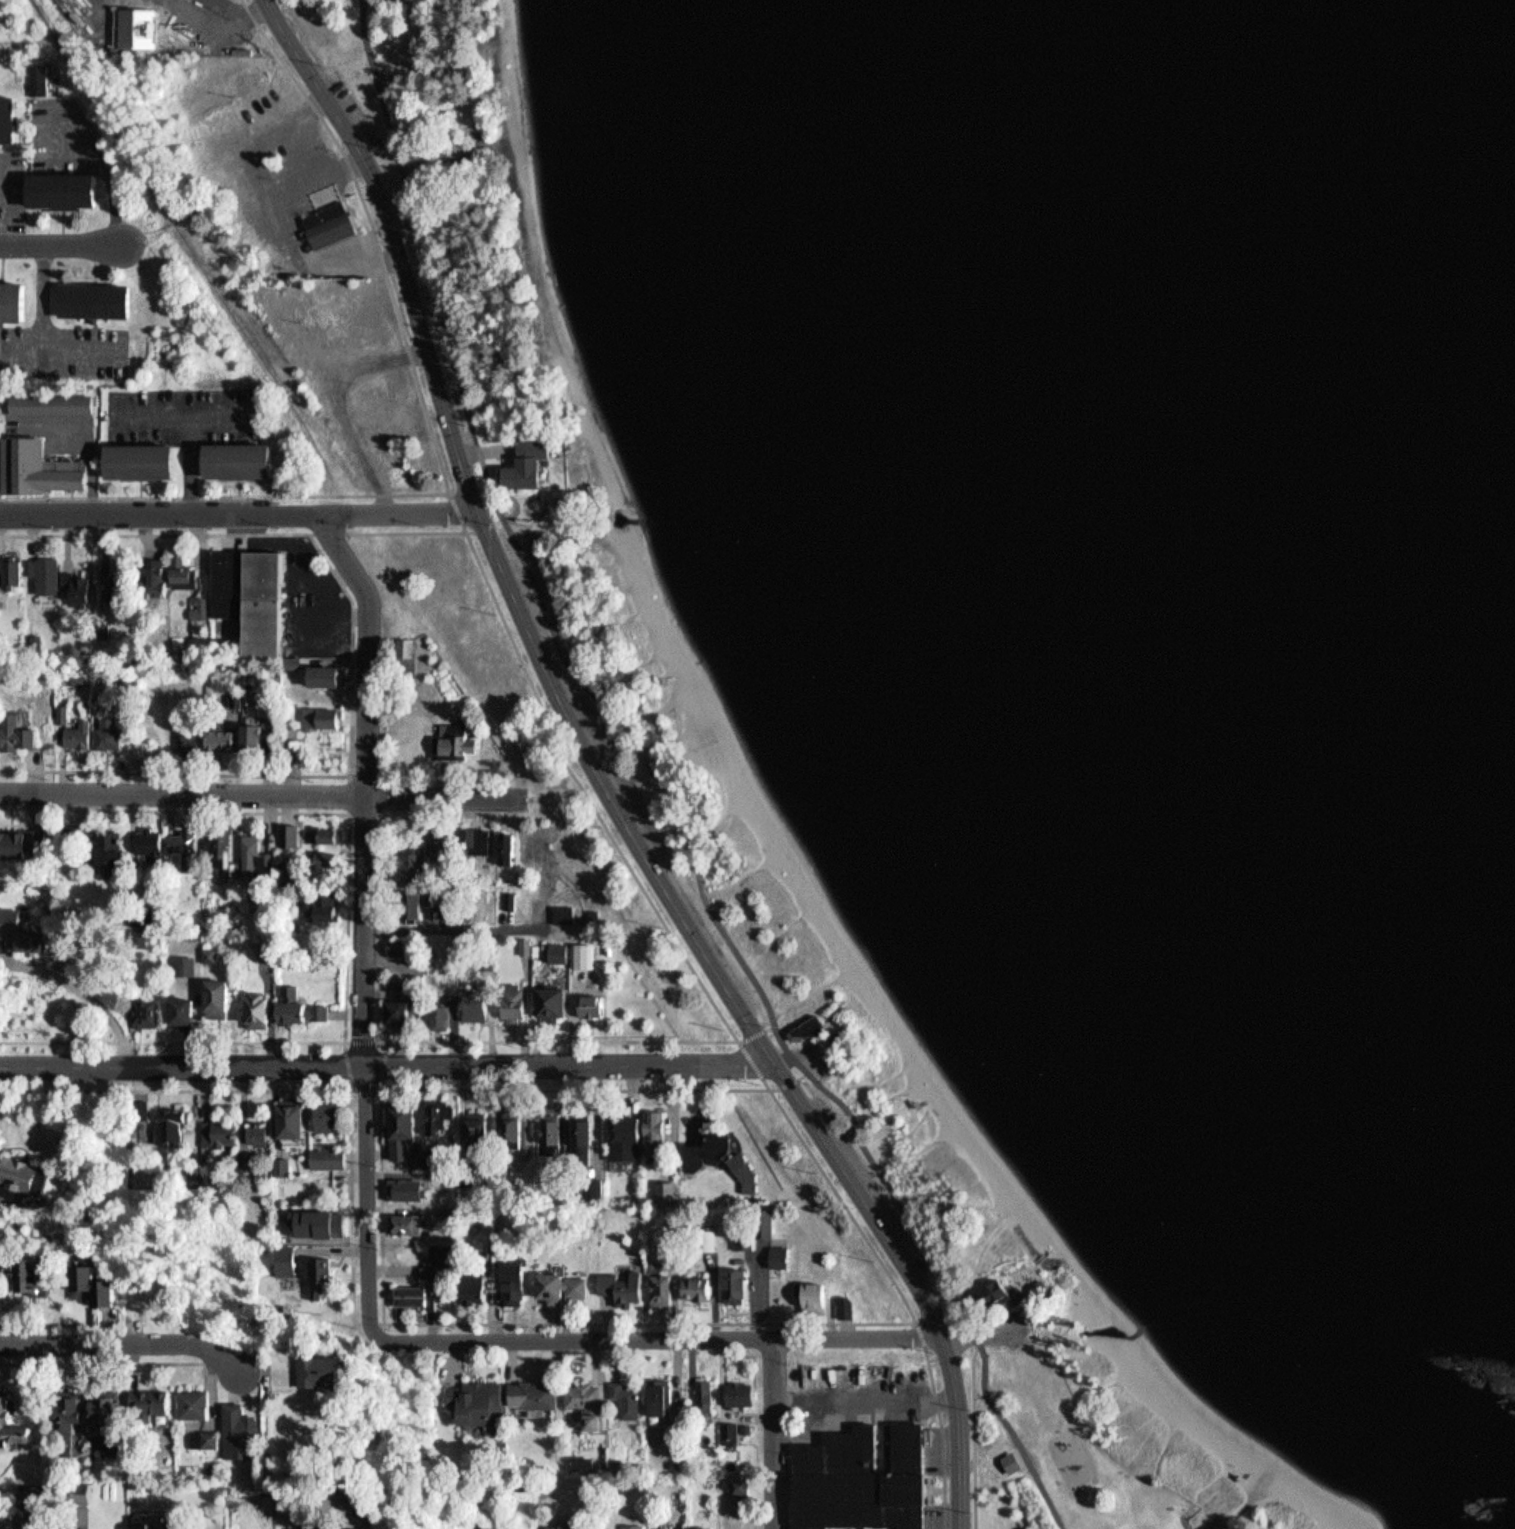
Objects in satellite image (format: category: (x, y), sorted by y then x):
road: (243, 14)
park: (428, 66)
building: (8, 121)
road: (323, 172)
parking lot: (306, 179)
building: (66, 191)
road: (204, 199)
building: (332, 224)
road: (62, 243)
road: (189, 243)
building: (96, 298)
building: (14, 301)
parking lot: (64, 351)
building: (52, 403)
road: (340, 405)
parking lot: (179, 410)
road: (439, 448)
road: (488, 449)
building: (245, 457)
building: (148, 458)
building: (0, 461)
building: (537, 463)
building: (43, 469)
road: (459, 510)
road: (240, 514)
road: (329, 531)
building: (42, 567)
building: (10, 568)
building: (163, 569)
building: (231, 582)
building: (73, 585)
building: (123, 591)
building: (271, 602)
building: (403, 643)
road: (354, 666)
building: (321, 670)
building: (668, 677)
building: (240, 689)
building: (317, 713)
building: (13, 727)
building: (247, 727)
building: (104, 728)
building: (67, 729)
building: (267, 734)
building: (451, 734)
building: (186, 735)
building: (216, 736)
building: (290, 742)
road: (601, 777)
road: (662, 792)
road: (262, 793)
road: (350, 808)
building: (284, 829)
building: (320, 829)
building: (292, 834)
building: (471, 835)
building: (19, 836)
building: (147, 836)
building: (503, 841)
building: (181, 843)
building: (526, 844)
building: (104, 846)
building: (514, 847)
building: (220, 848)
building: (448, 848)
building: (536, 849)
building: (252, 851)
building: (414, 853)
building: (313, 855)
building: (507, 895)
building: (411, 898)
building: (317, 902)
building: (561, 908)
building: (453, 909)
building: (590, 910)
building: (569, 913)
road: (365, 920)
road: (347, 922)
building: (19, 925)
building: (259, 940)
building: (394, 941)
building: (523, 941)
building: (555, 946)
building: (208, 949)
building: (580, 950)
building: (563, 951)
building: (217, 954)
building: (181, 959)
building: (210, 991)
road: (709, 992)
building: (510, 994)
building: (222, 997)
building: (472, 999)
building: (545, 999)
building: (295, 1001)
building: (435, 1002)
building: (251, 1003)
building: (588, 1003)
building: (397, 1004)
building: (178, 1005)
building: (140, 1006)
building: (265, 1007)
building: (408, 1010)
building: (806, 1022)
building: (814, 1028)
road: (756, 1031)
road: (756, 1063)
road: (386, 1064)
road: (790, 1078)
road: (383, 1084)
road: (249, 1088)
building: (135, 1101)
building: (322, 1110)
building: (435, 1113)
building: (286, 1114)
building: (168, 1118)
building: (299, 1120)
building: (475, 1123)
building: (215, 1125)
building: (397, 1125)
building: (547, 1126)
building: (508, 1127)
building: (651, 1130)
building: (255, 1131)
building: (555, 1131)
building: (620, 1132)
building: (589, 1134)
building: (711, 1142)
building: (687, 1151)
building: (325, 1153)
building: (413, 1153)
building: (436, 1157)
building: (577, 1158)
building: (236, 1159)
building: (280, 1159)
road: (822, 1165)
building: (285, 1166)
building: (14, 1169)
building: (740, 1169)
building: (34, 1176)
building: (404, 1183)
building: (660, 1187)
building: (670, 1191)
building: (328, 1217)
building: (401, 1218)
building: (705, 1235)
building: (750, 1237)
building: (774, 1251)
building: (284, 1252)
building: (435, 1256)
building: (786, 1256)
building: (317, 1270)
building: (19, 1272)
building: (46, 1275)
building: (556, 1279)
building: (509, 1280)
building: (727, 1280)
building: (616, 1281)
building: (86, 1282)
building: (692, 1282)
building: (482, 1285)
building: (520, 1285)
building: (655, 1285)
building: (106, 1286)
building: (469, 1286)
building: (742, 1286)
building: (1047, 1286)
building: (666, 1290)
building: (405, 1291)
building: (989, 1292)
building: (808, 1293)
building: (1003, 1293)
building: (822, 1297)
building: (840, 1302)
building: (850, 1307)
road: (18, 1323)
road: (922, 1334)
road: (660, 1338)
road: (125, 1342)
road: (103, 1362)
building: (314, 1369)
building: (336, 1371)
building: (702, 1389)
building: (735, 1391)
building: (654, 1392)
building: (527, 1393)
building: (629, 1394)
building: (581, 1398)
building: (474, 1399)
building: (147, 1400)
building: (187, 1401)
building: (65, 1418)
building: (103, 1418)
building: (12, 1422)
building: (725, 1424)
building: (236, 1427)
building: (734, 1432)
road: (777, 1433)
building: (202, 1434)
road: (976, 1434)
road: (946, 1437)
park: (1146, 1441)
building: (1008, 1456)
building: (672, 1460)
building: (1256, 1467)
building: (856, 1475)
building: (728, 1479)
building: (744, 1487)
building: (80, 1488)
building: (33, 1489)
building: (42, 1495)
building: (153, 1522)
building: (560, 1523)
building: (630, 1523)
building: (697, 1525)
building: (370, 1527)
building: (316, 1528)

